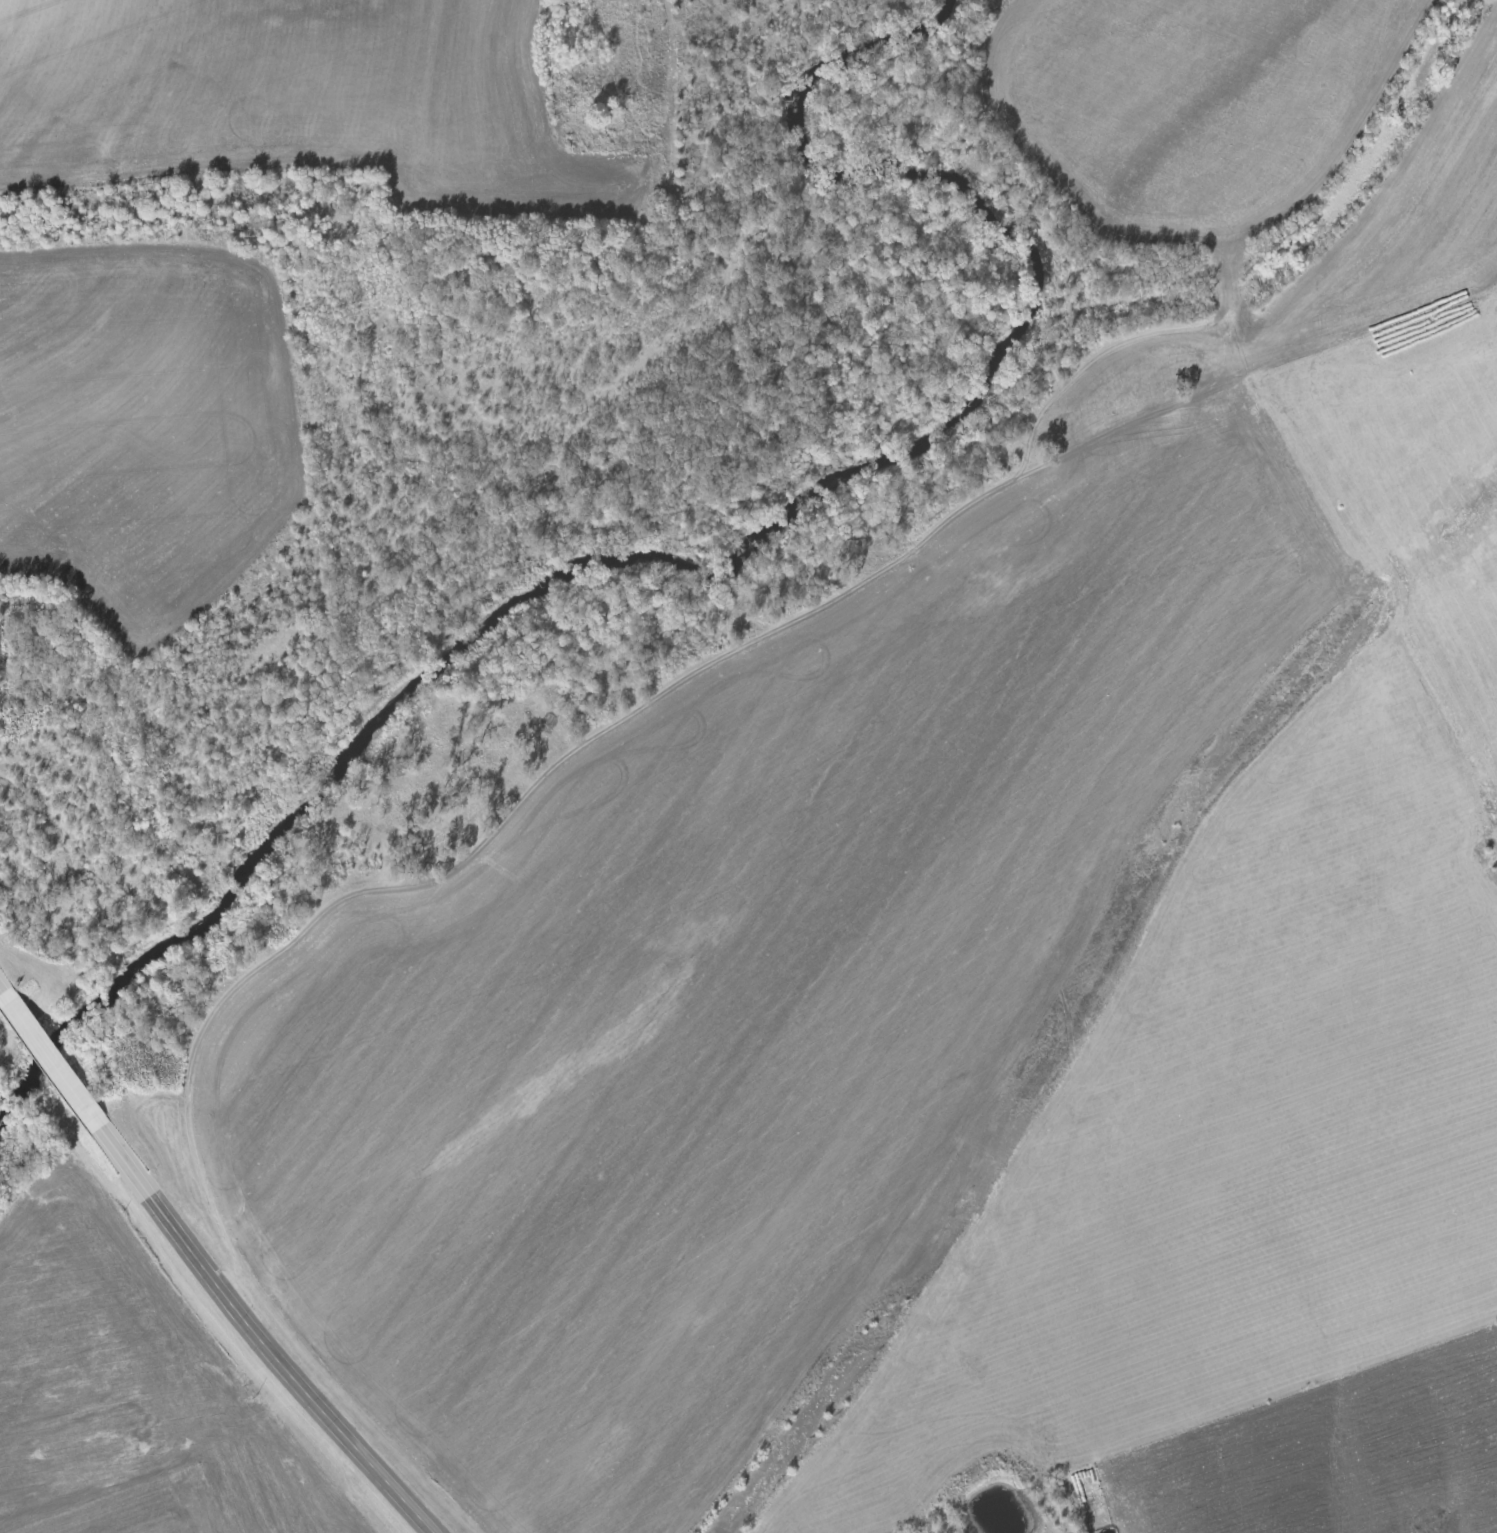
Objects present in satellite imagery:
road: (23, 1019)
road: (53, 1059)
road: (229, 1302)

